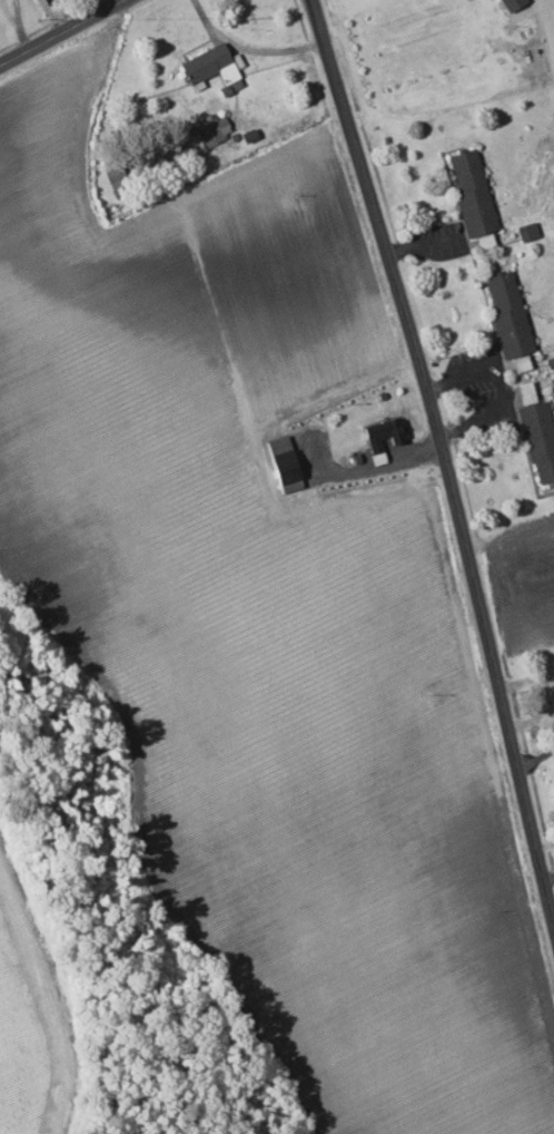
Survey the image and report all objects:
building: (510, 3)
road: (18, 27)
road: (65, 33)
building: (206, 63)
building: (201, 136)
building: (112, 175)
building: (471, 198)
building: (525, 231)
building: (505, 315)
building: (517, 363)
building: (523, 392)
building: (383, 433)
building: (536, 439)
road: (448, 452)
building: (279, 460)
road: (536, 757)

